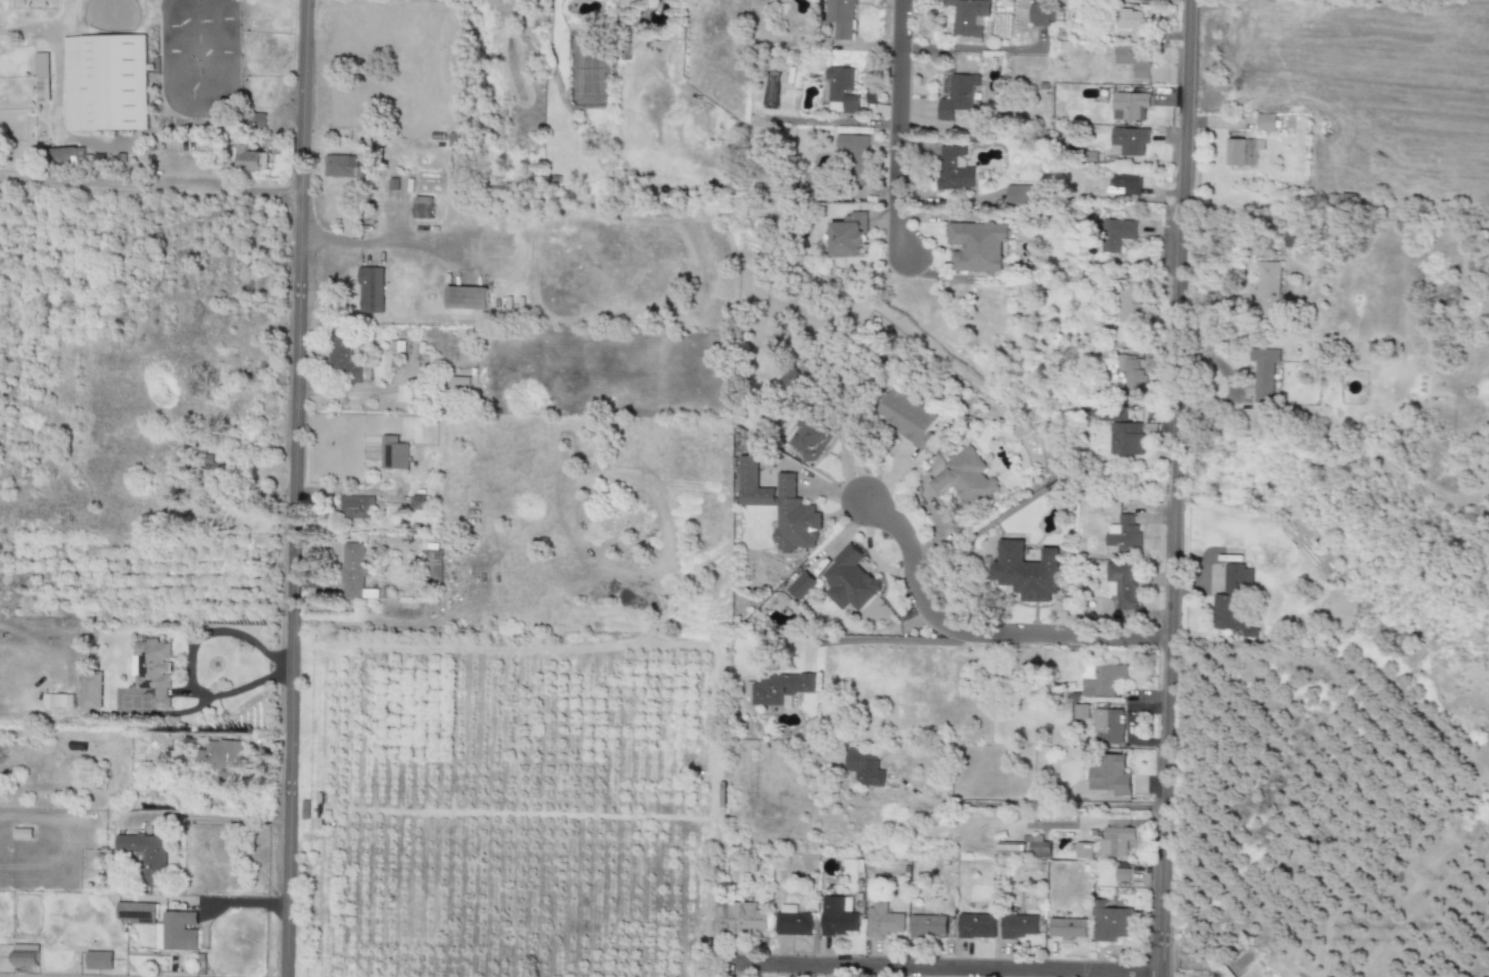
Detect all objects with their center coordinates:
building: (1140, 0)
building: (1041, 13)
building: (967, 17)
building: (840, 18)
building: (1132, 24)
road: (972, 49)
building: (1134, 60)
building: (41, 77)
building: (105, 83)
building: (841, 91)
building: (957, 96)
building: (1129, 106)
building: (1266, 123)
road: (896, 131)
building: (1127, 141)
building: (851, 149)
building: (1242, 152)
building: (66, 156)
building: (252, 160)
building: (342, 167)
building: (953, 169)
road: (22, 178)
road: (172, 182)
building: (1123, 184)
building: (1022, 195)
building: (423, 208)
building: (1116, 234)
building: (848, 236)
road: (377, 242)
building: (977, 246)
building: (1267, 289)
building: (370, 290)
building: (466, 298)
building: (1129, 300)
building: (344, 359)
building: (1130, 372)
building: (1263, 373)
building: (793, 381)
road: (368, 389)
building: (907, 417)
building: (1128, 437)
building: (810, 440)
road: (842, 448)
building: (394, 454)
building: (219, 473)
building: (964, 479)
road: (293, 488)
road: (1174, 488)
building: (355, 507)
building: (785, 508)
building: (1123, 535)
building: (433, 567)
building: (354, 571)
building: (1023, 572)
building: (845, 577)
building: (1122, 584)
building: (1232, 597)
road: (981, 633)
road: (890, 639)
road: (189, 665)
building: (154, 669)
building: (1101, 680)
building: (784, 686)
building: (91, 689)
building: (57, 701)
building: (1108, 726)
building: (221, 760)
building: (867, 764)
building: (1110, 777)
road: (1036, 807)
road: (218, 818)
building: (1116, 840)
building: (1038, 848)
building: (1083, 851)
building: (147, 856)
building: (1122, 873)
building: (137, 913)
building: (842, 916)
building: (749, 918)
building: (793, 920)
building: (979, 923)
building: (1112, 923)
building: (888, 924)
building: (931, 927)
building: (1020, 927)
building: (1069, 929)
building: (177, 932)
building: (25, 955)
building: (98, 961)
road: (945, 969)

